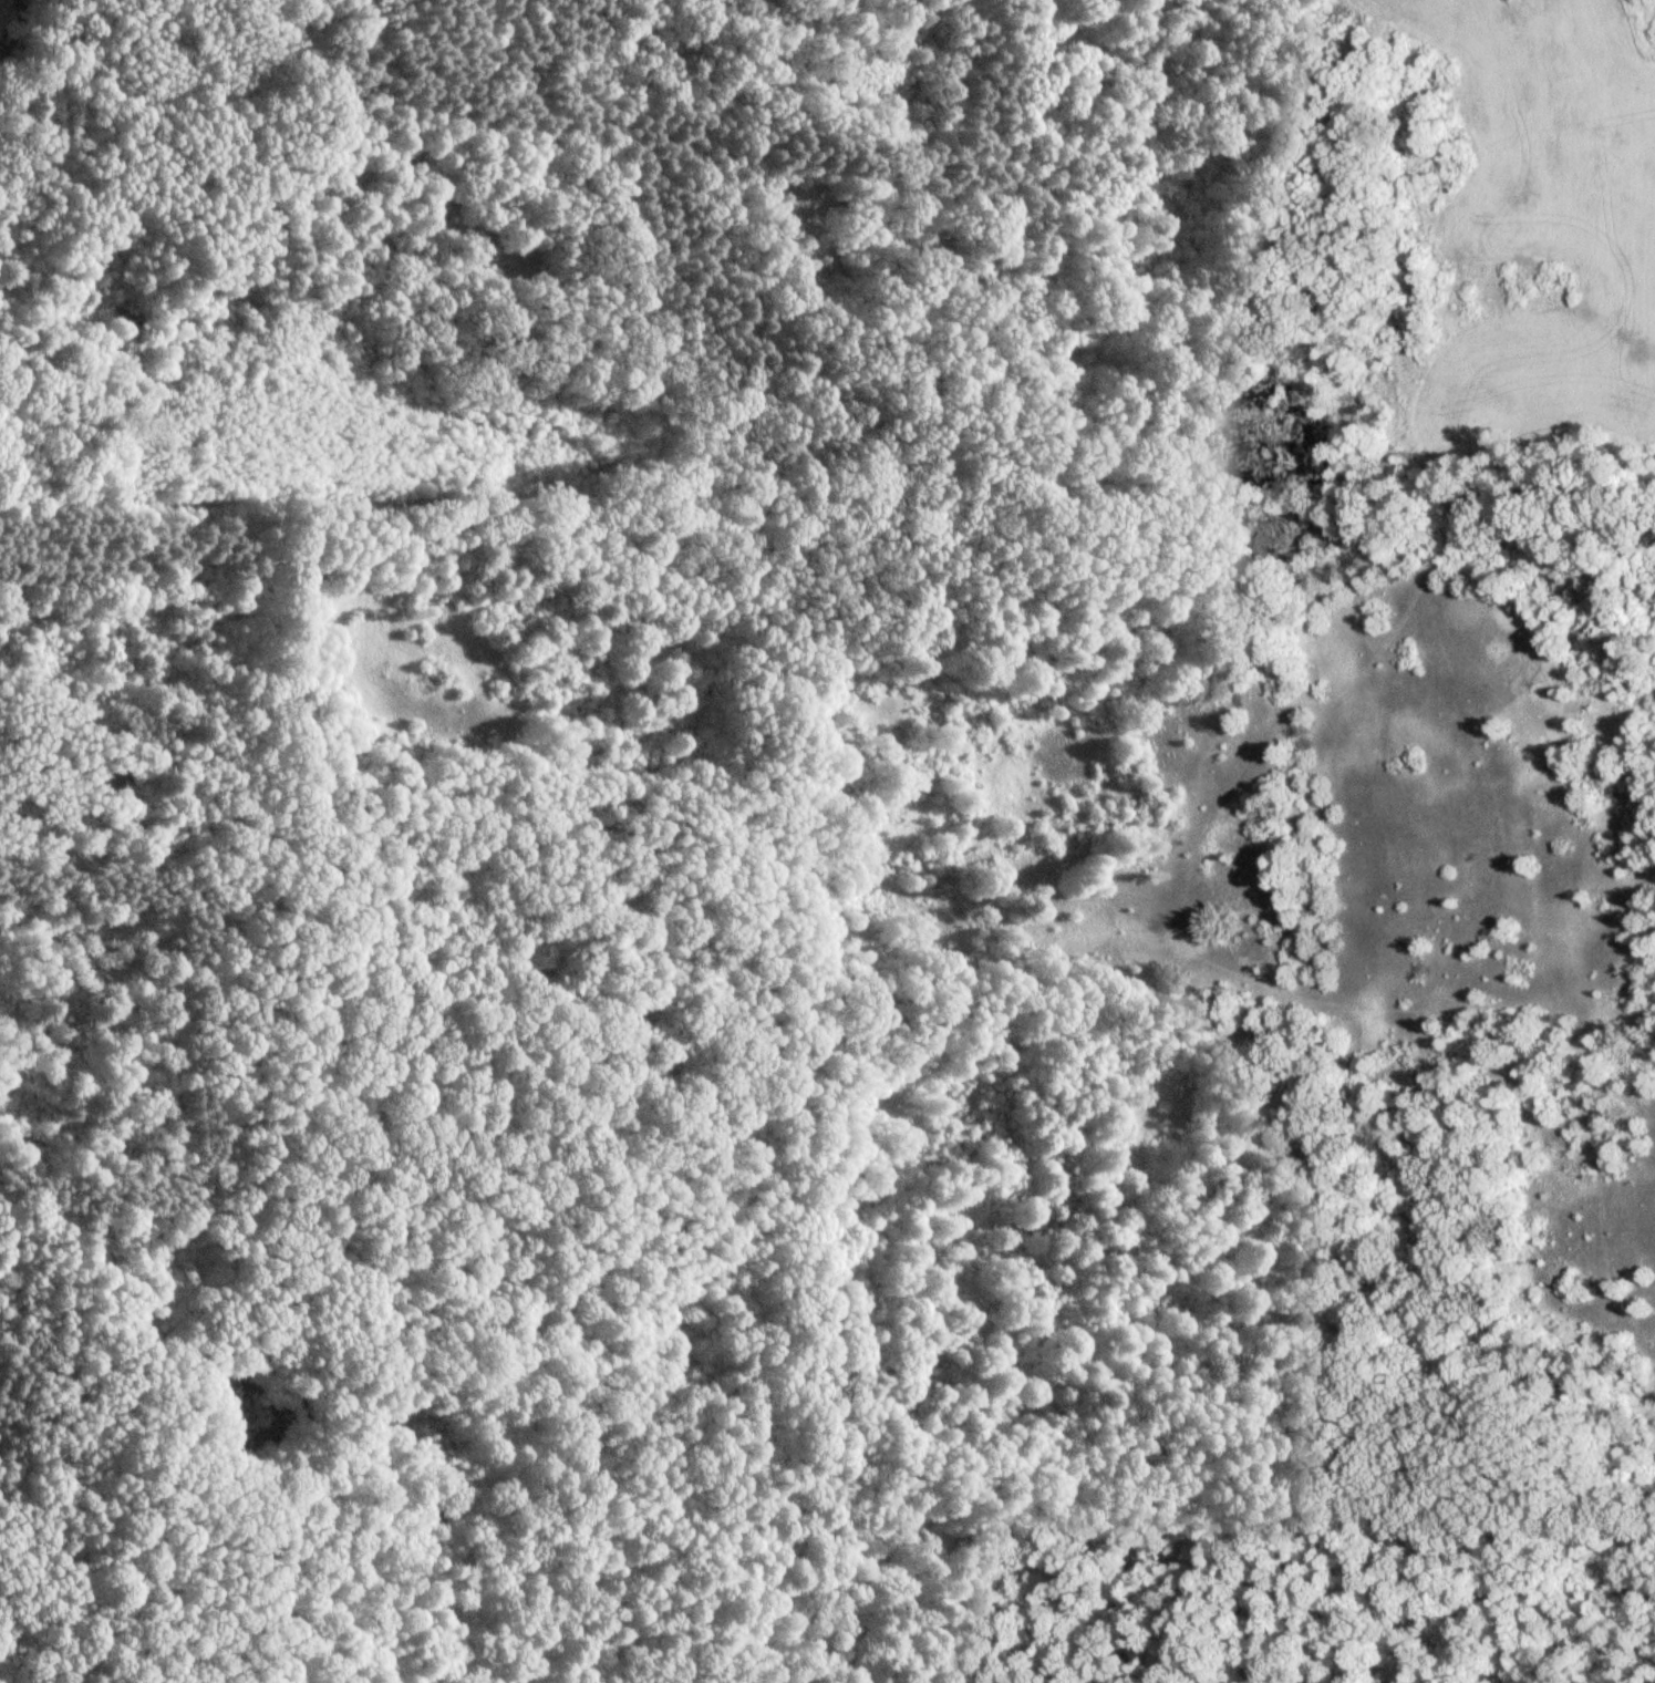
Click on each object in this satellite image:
crop: (1545, 221)
road: (1034, 265)
road: (546, 496)
road: (1374, 499)

